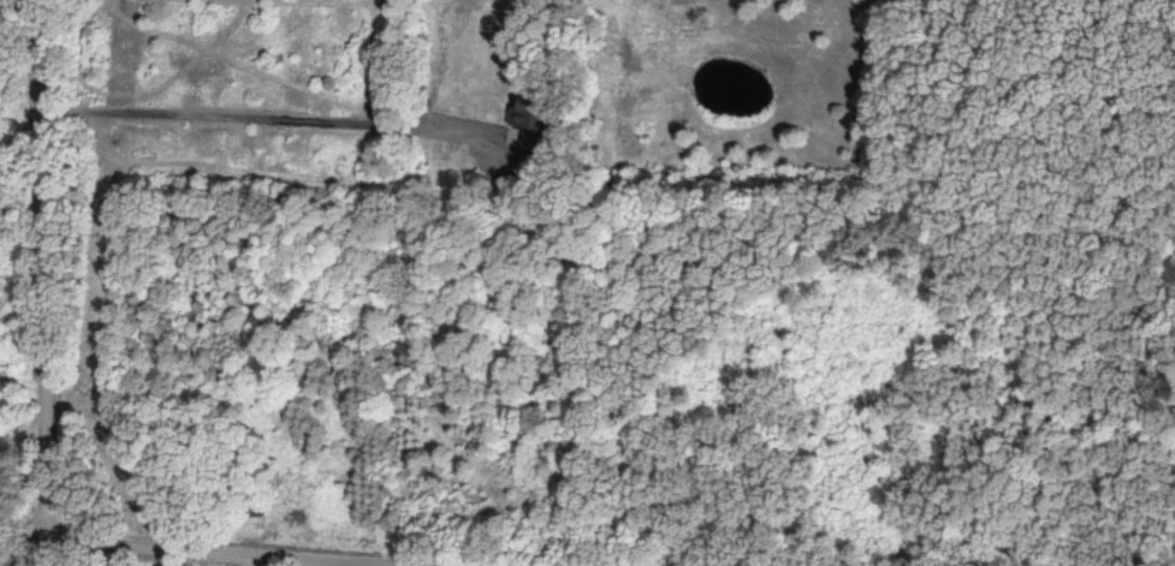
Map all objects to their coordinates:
road: (267, 117)
building: (534, 121)
road: (38, 269)
road: (179, 552)

